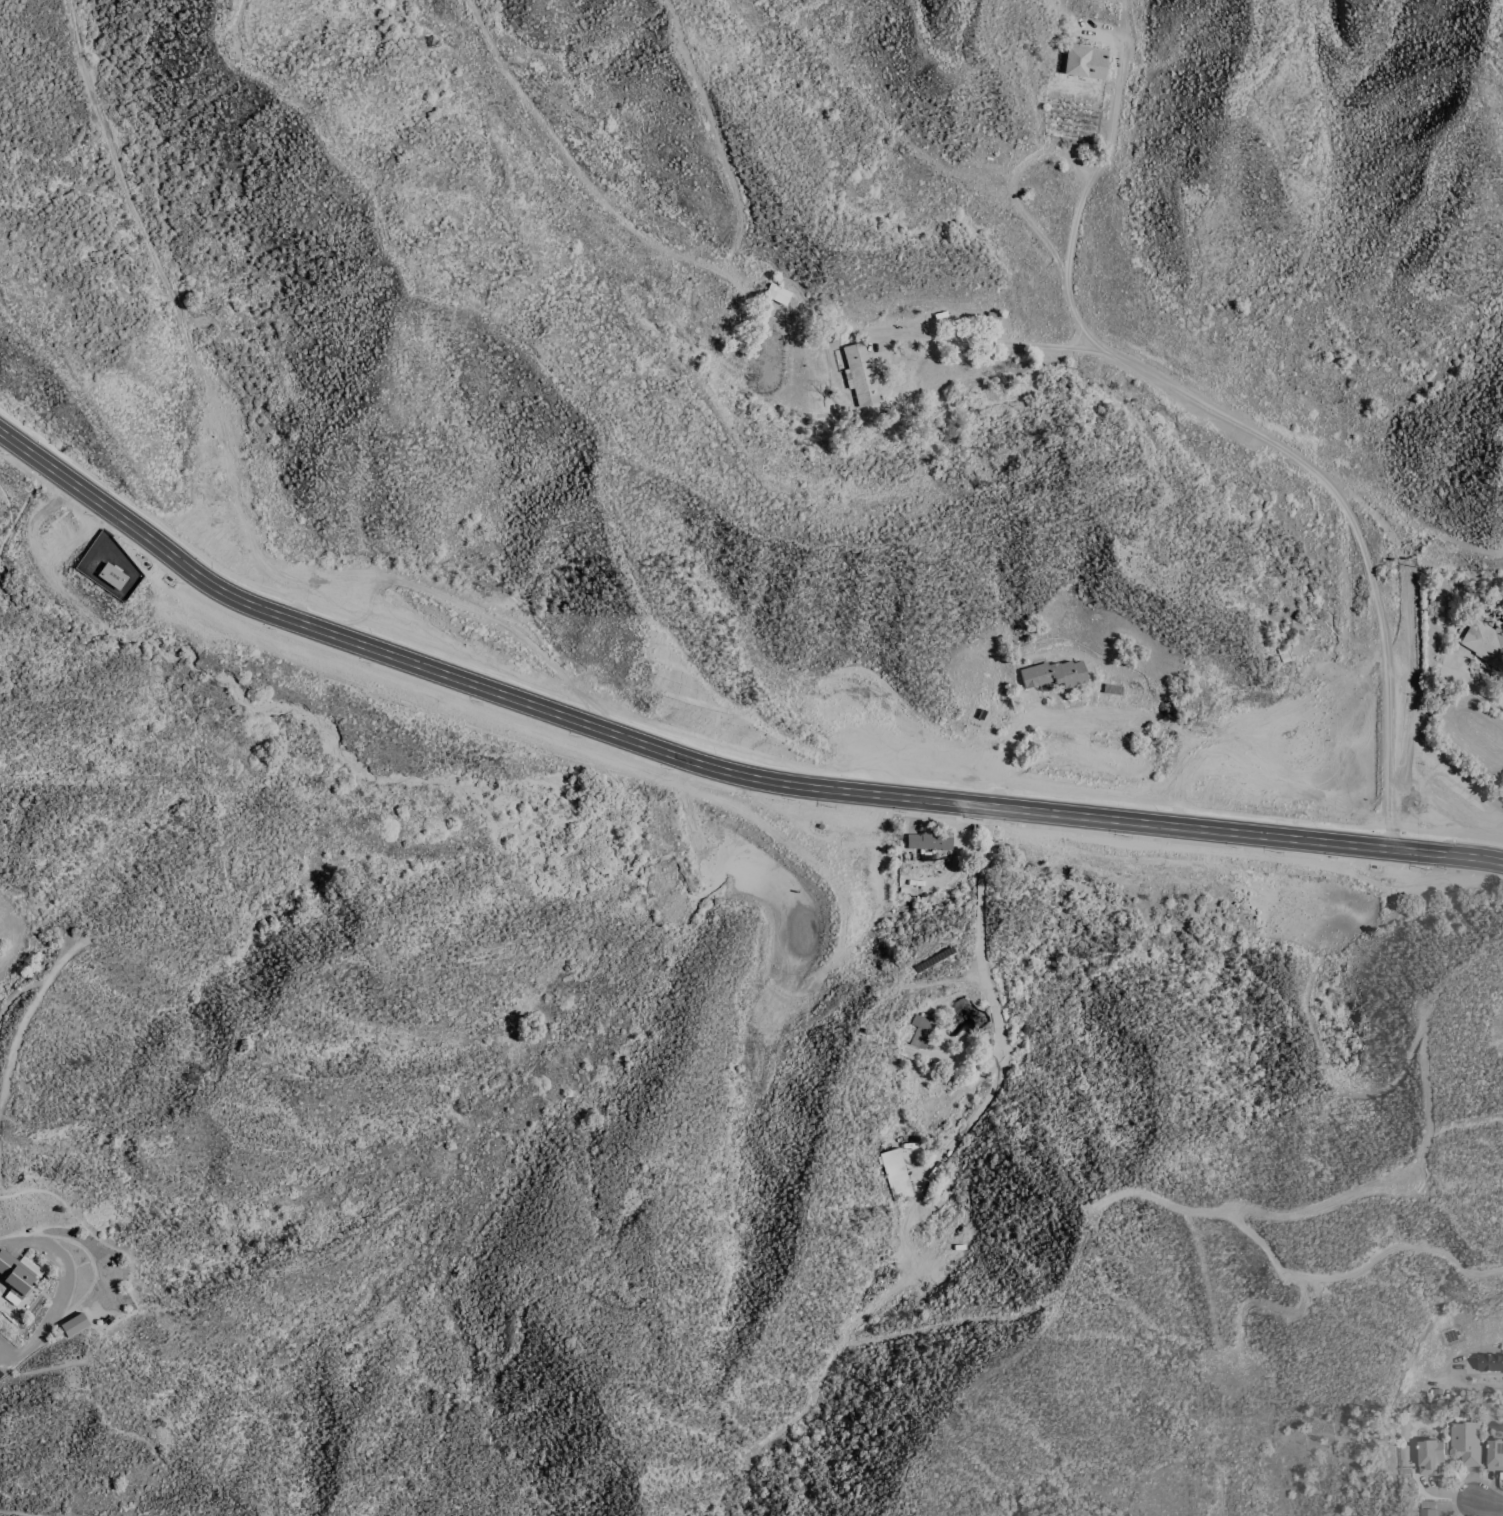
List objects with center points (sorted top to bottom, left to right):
building: (1086, 61)
road: (1084, 192)
building: (778, 292)
building: (993, 316)
road: (997, 343)
building: (862, 374)
road: (1386, 530)
building: (1485, 640)
building: (1284, 651)
road: (1341, 664)
building: (1055, 673)
road: (1010, 735)
building: (1041, 758)
road: (713, 766)
building: (1249, 794)
building: (930, 839)
building: (932, 959)
building: (920, 1034)
road: (1002, 1056)
building: (897, 1173)
building: (944, 1215)
road: (39, 1243)
building: (920, 1262)
building: (18, 1274)
building: (69, 1326)
road: (44, 1327)
building: (1450, 1336)
road: (9, 1351)
building: (1490, 1362)
road: (1471, 1389)
building: (1465, 1440)
building: (1495, 1454)
building: (1429, 1456)
road: (1486, 1504)
building: (1427, 1508)

